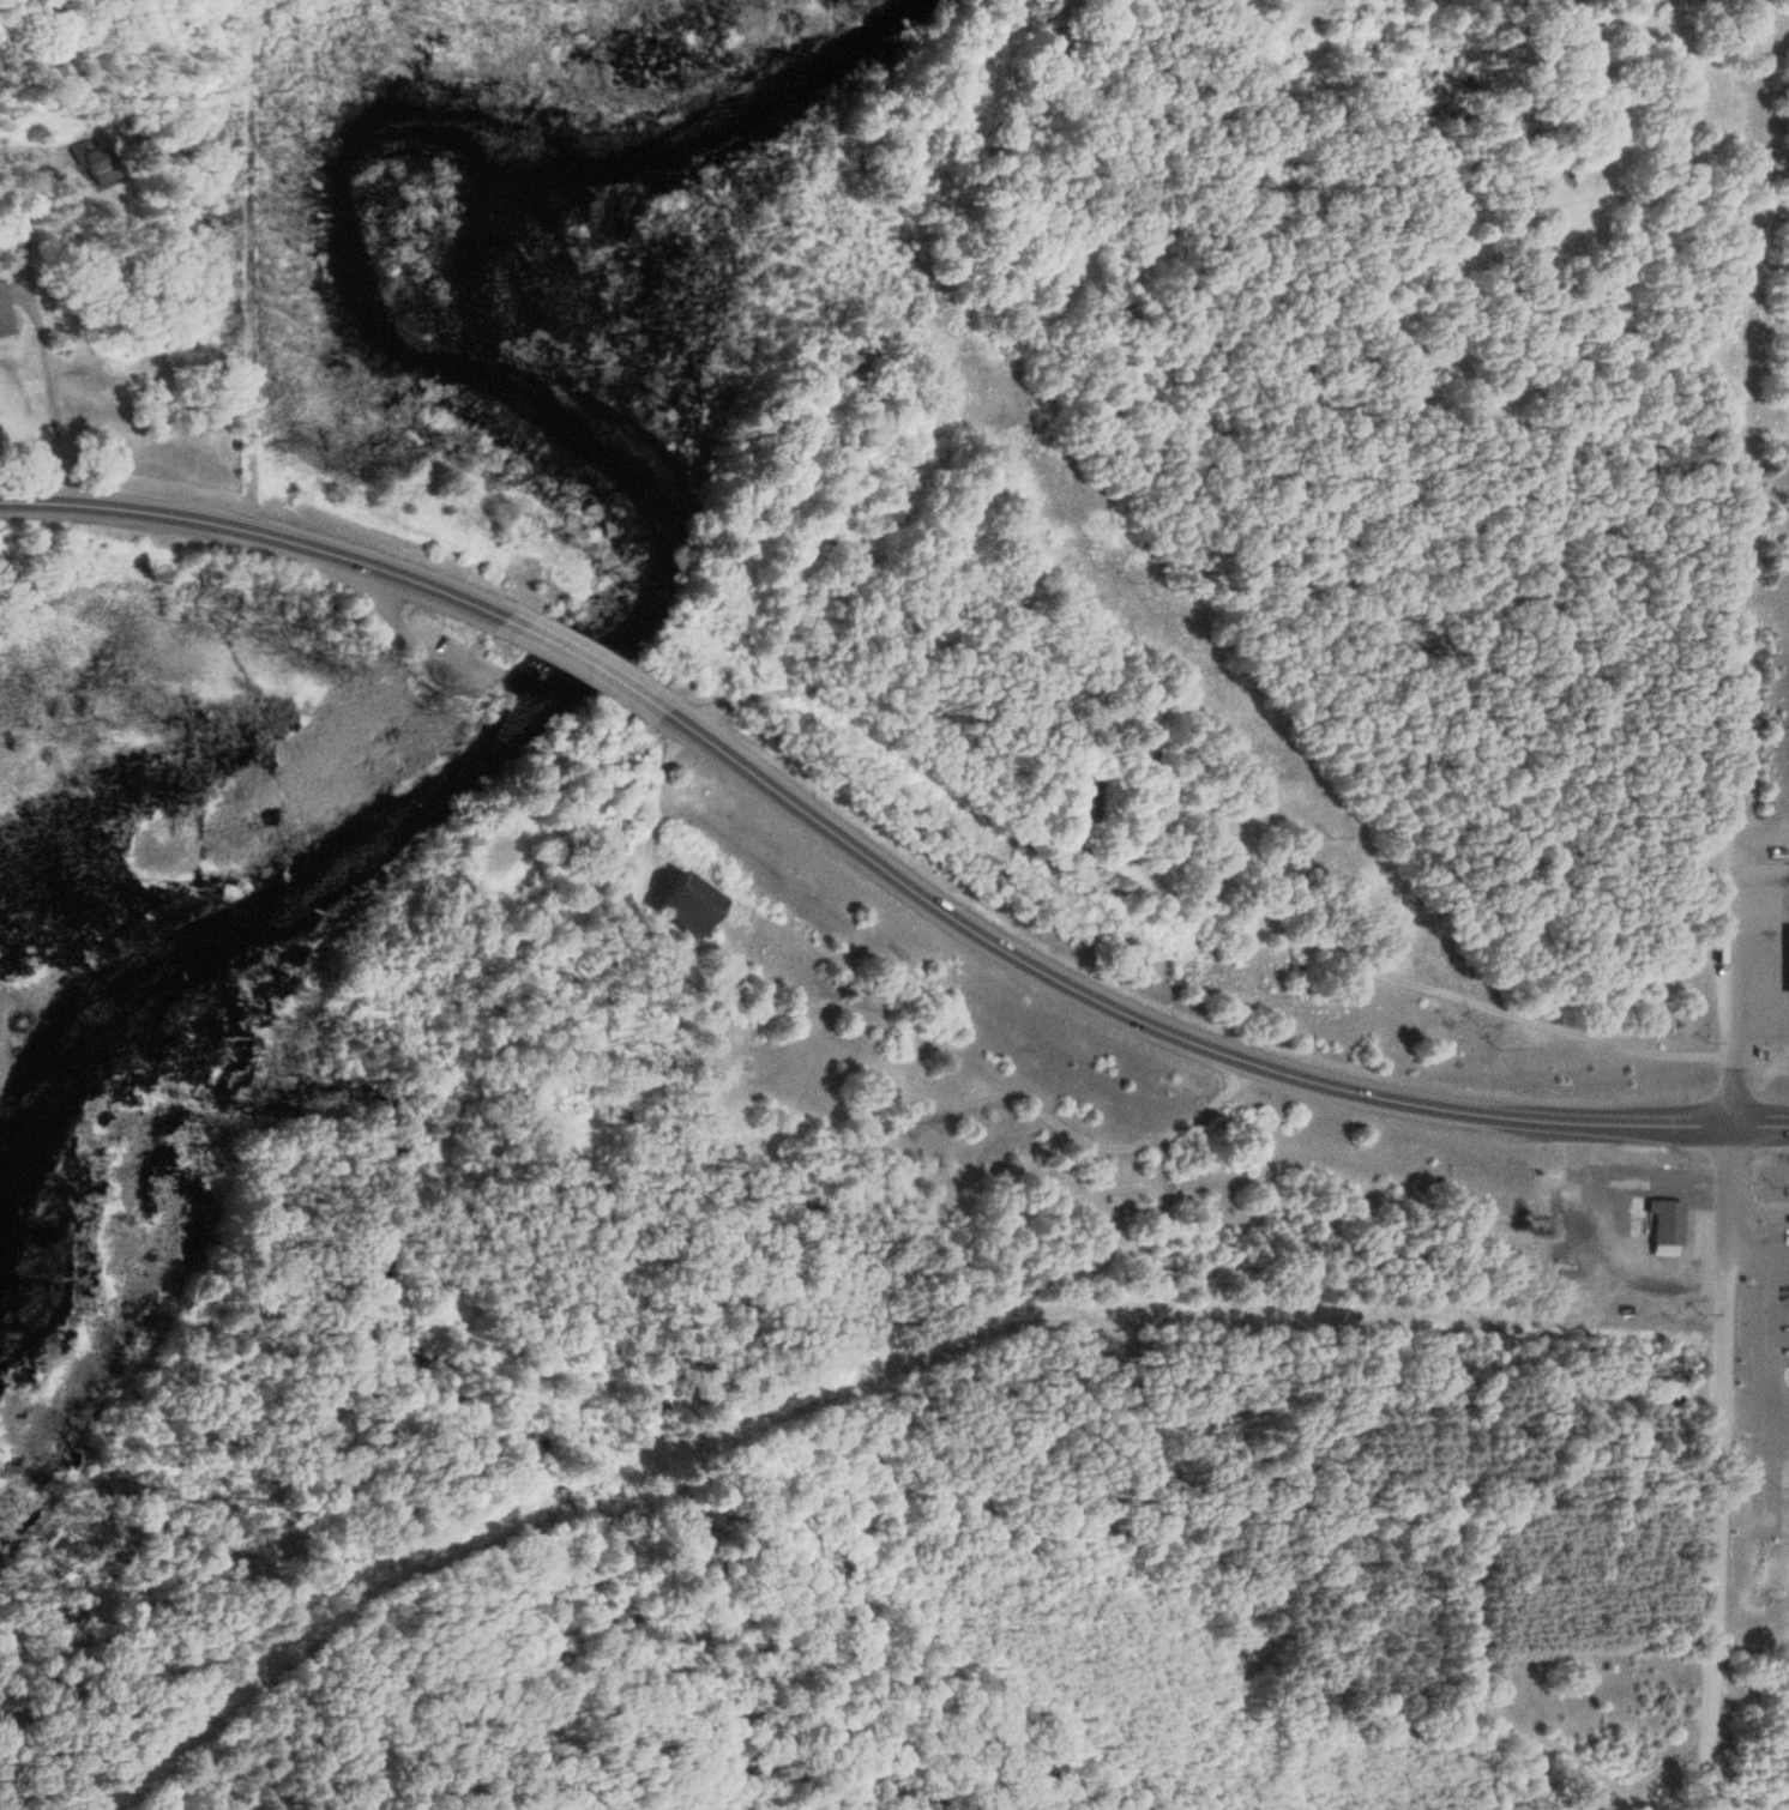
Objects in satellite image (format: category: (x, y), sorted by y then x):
road: (1770, 37)
building: (92, 169)
building: (2, 320)
road: (1737, 440)
river: (633, 458)
road: (266, 538)
road: (403, 636)
road: (586, 670)
road: (1188, 882)
building: (683, 907)
building: (1785, 961)
road: (1728, 1003)
road: (1179, 1036)
building: (1624, 1185)
road: (1728, 1207)
building: (1661, 1229)
building: (1566, 1260)
road: (1717, 1550)

